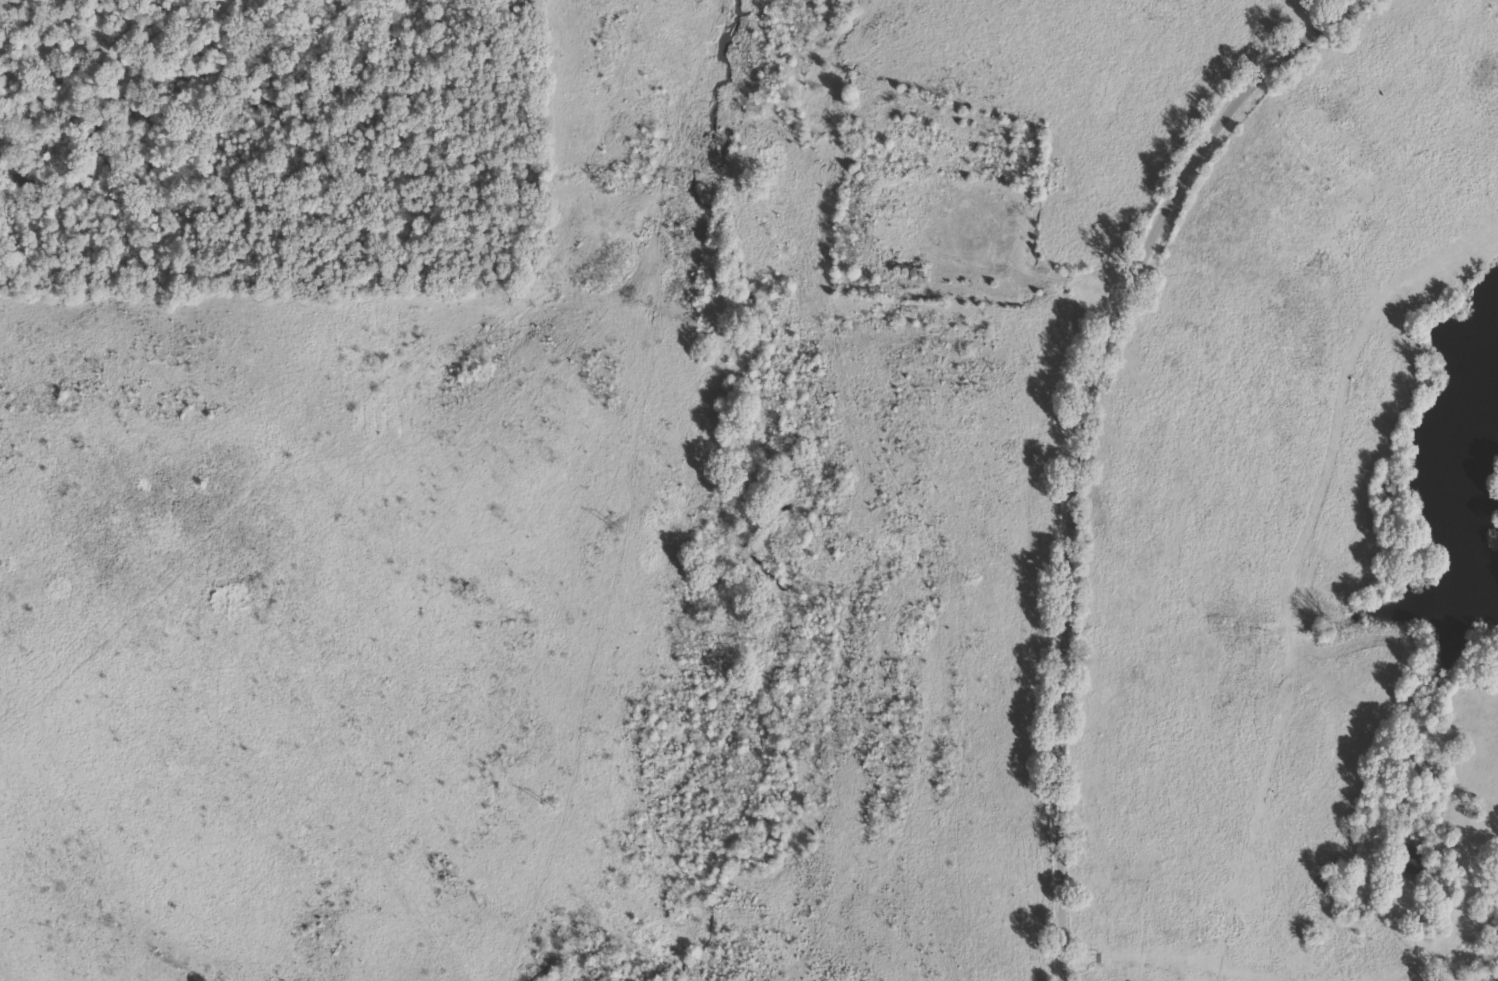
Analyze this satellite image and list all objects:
road: (1061, 439)

